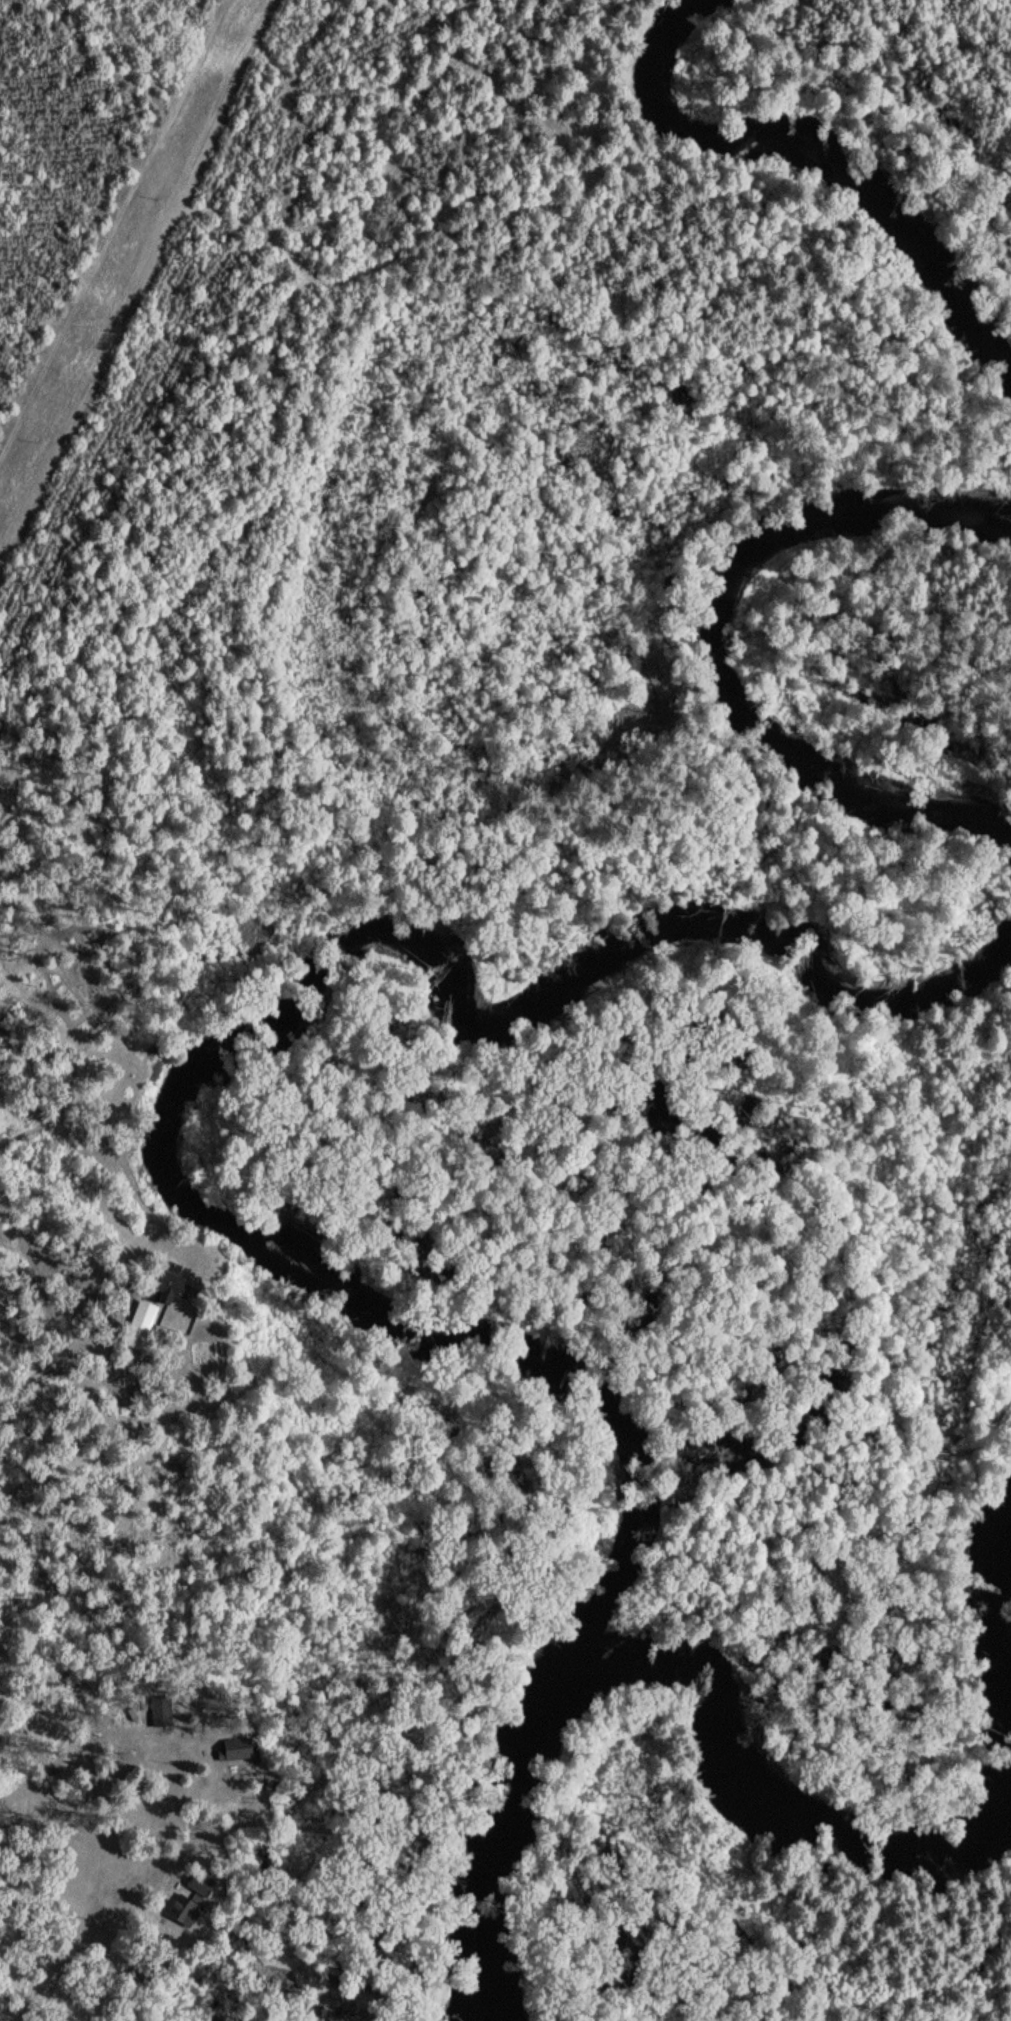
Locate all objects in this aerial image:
river: (820, 156)
road: (127, 261)
river: (725, 652)
river: (219, 1049)
building: (170, 1285)
building: (140, 1325)
road: (132, 1496)
river: (1000, 1622)
building: (162, 1709)
building: (235, 1748)
river: (774, 1781)
road: (64, 1829)
river: (500, 1840)
building: (201, 1883)
building: (185, 1909)
road: (70, 1952)

